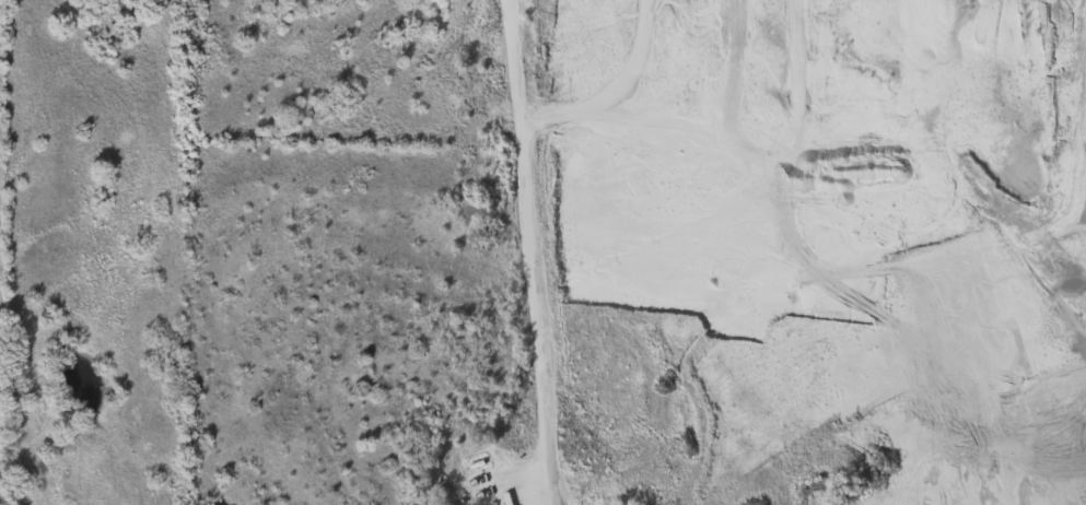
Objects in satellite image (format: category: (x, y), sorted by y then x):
road: (530, 252)

